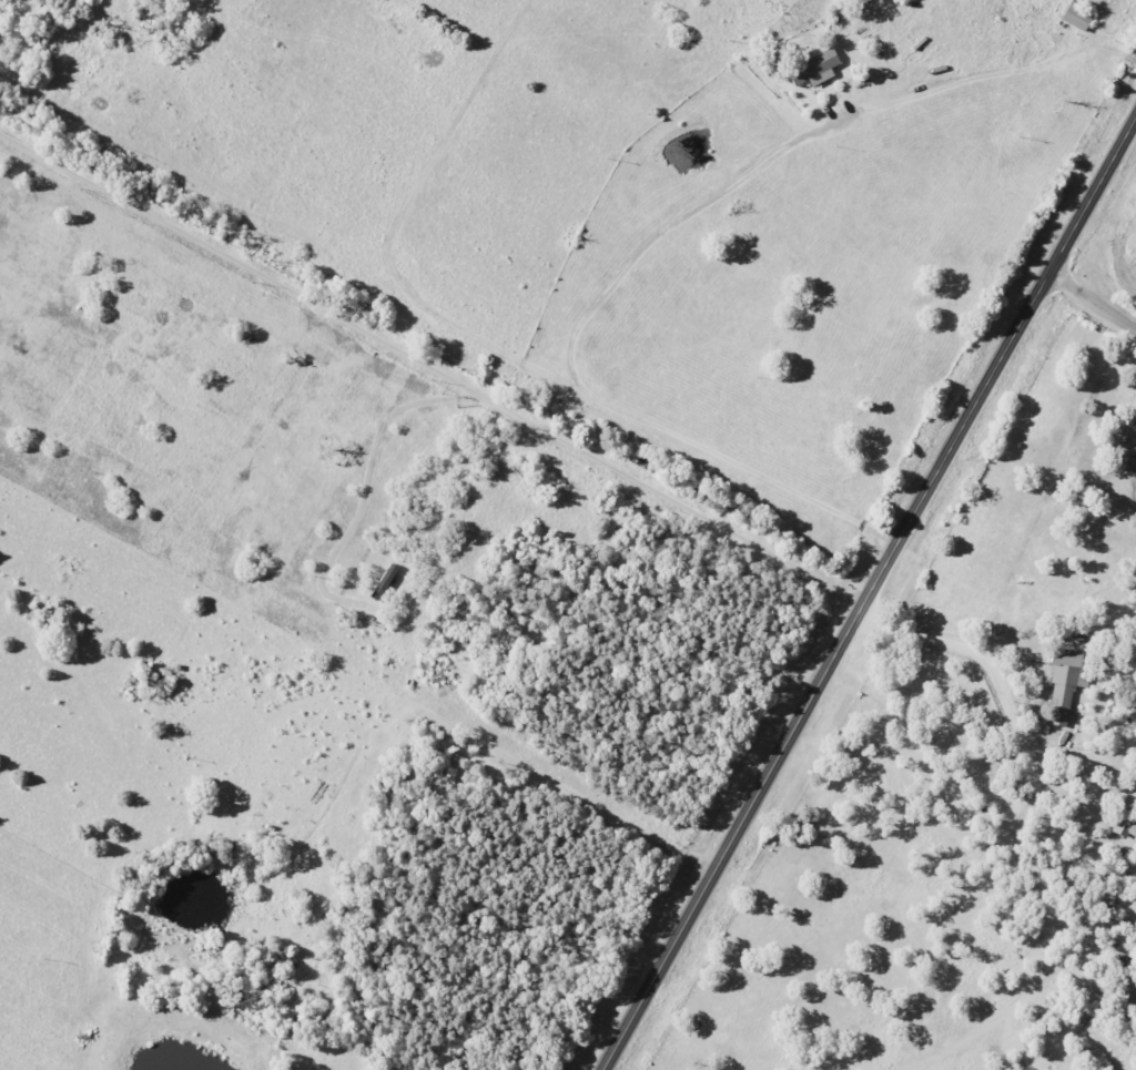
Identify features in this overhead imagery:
building: (1074, 17)
building: (811, 68)
road: (1091, 302)
road: (568, 363)
road: (429, 369)
road: (866, 591)
building: (1064, 679)
road: (1005, 690)
road: (977, 770)
building: (1125, 822)
building: (1110, 992)

